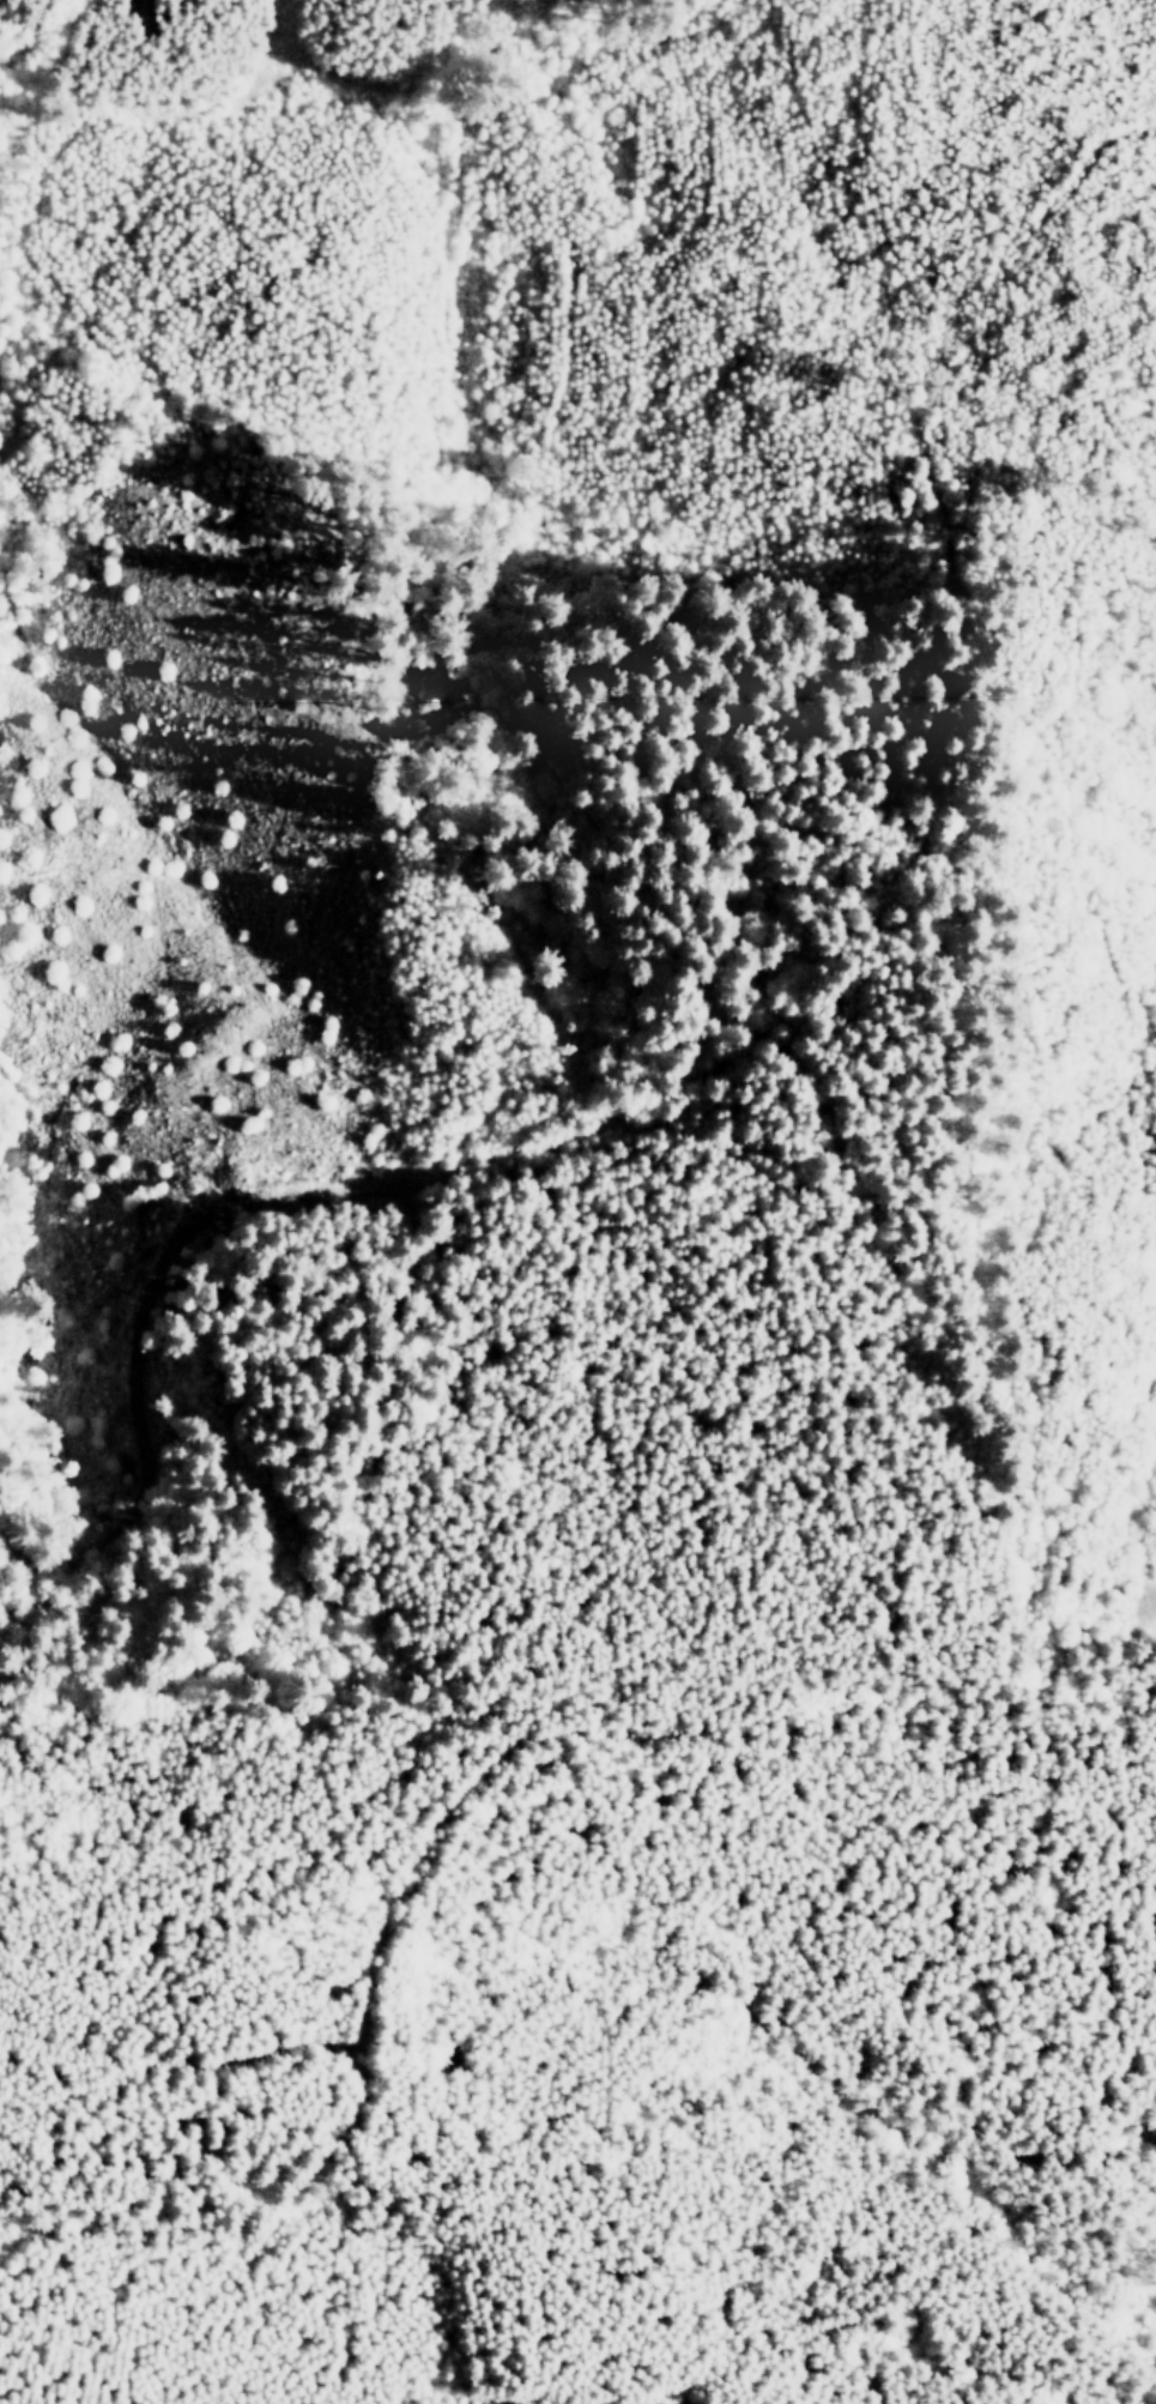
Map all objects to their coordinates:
road: (305, 1178)

